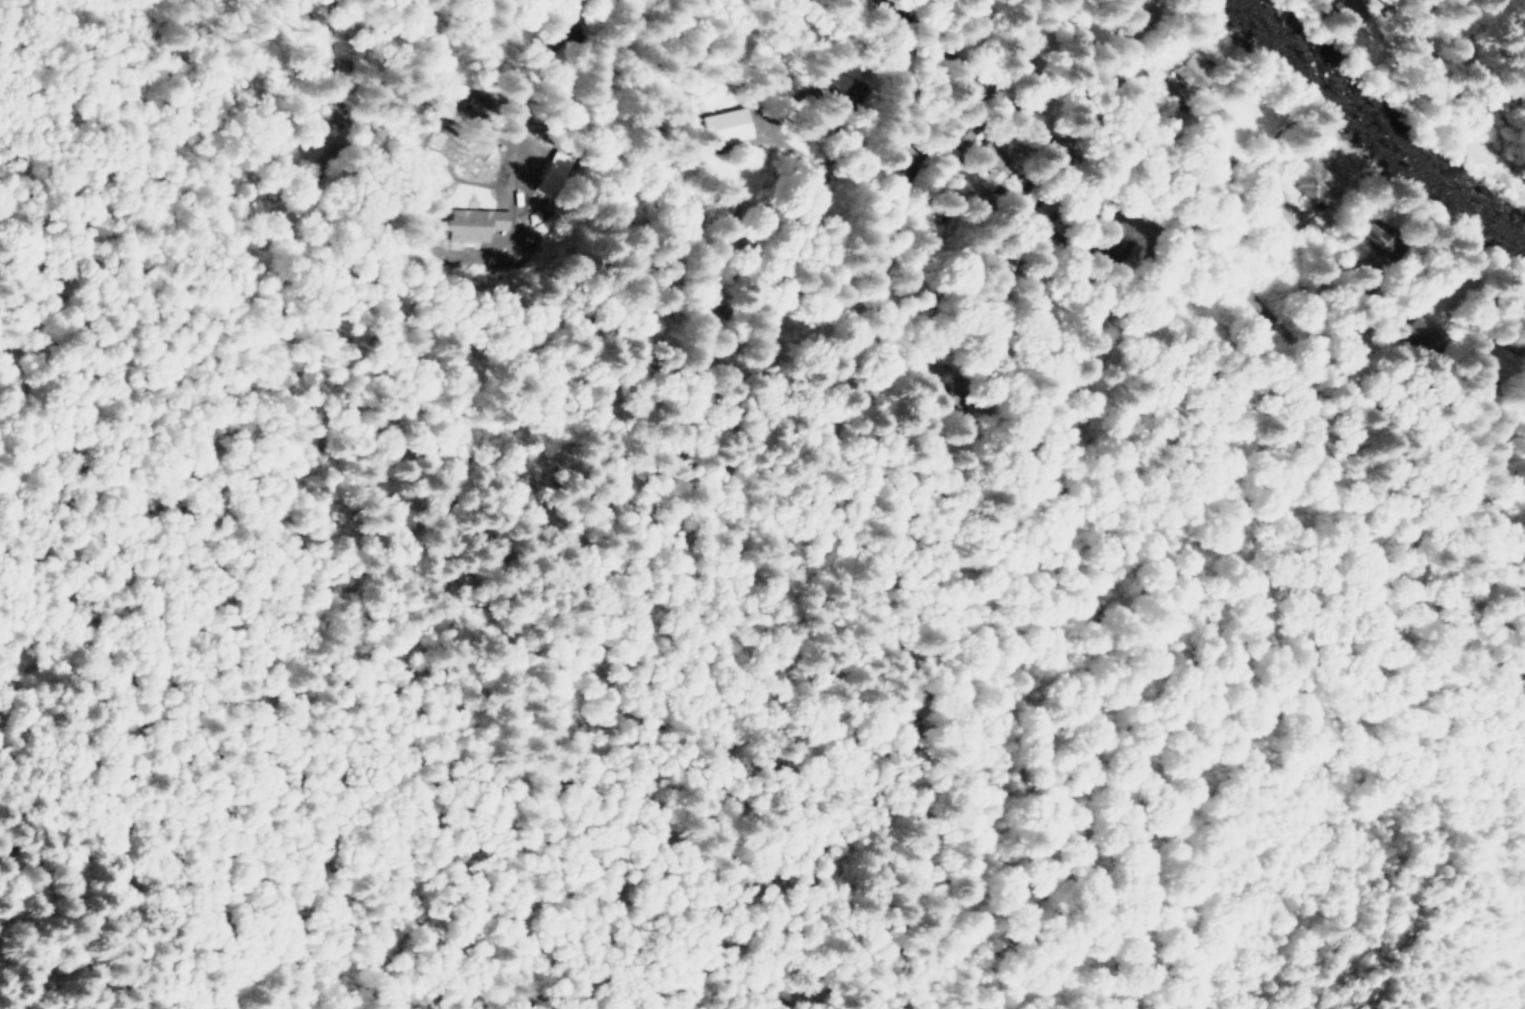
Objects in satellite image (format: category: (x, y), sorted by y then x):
building: (1137, 11)
building: (1345, 12)
building: (1191, 70)
building: (732, 124)
building: (1173, 125)
river: (1374, 131)
building: (1221, 163)
building: (986, 167)
building: (553, 174)
building: (1314, 183)
building: (1272, 198)
building: (483, 223)
building: (1379, 235)
building: (1131, 253)
building: (1383, 261)
building: (1020, 262)
road: (1221, 263)
road: (1034, 293)
building: (1427, 335)
building: (1495, 357)
building: (978, 391)
building: (1524, 396)
road: (1493, 416)

